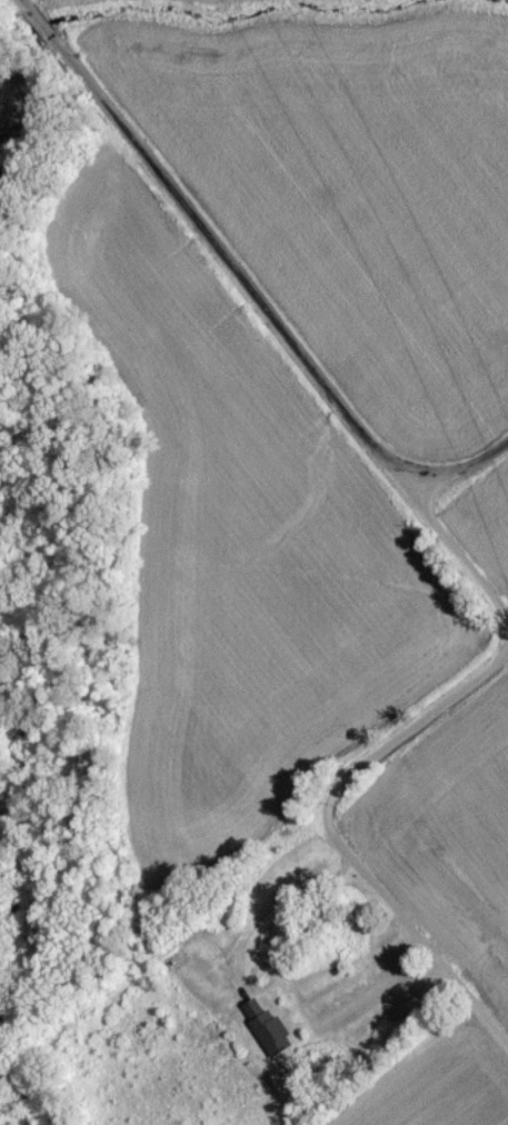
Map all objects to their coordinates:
road: (215, 243)
road: (461, 472)
road: (371, 761)
road: (278, 902)
building: (269, 1032)

